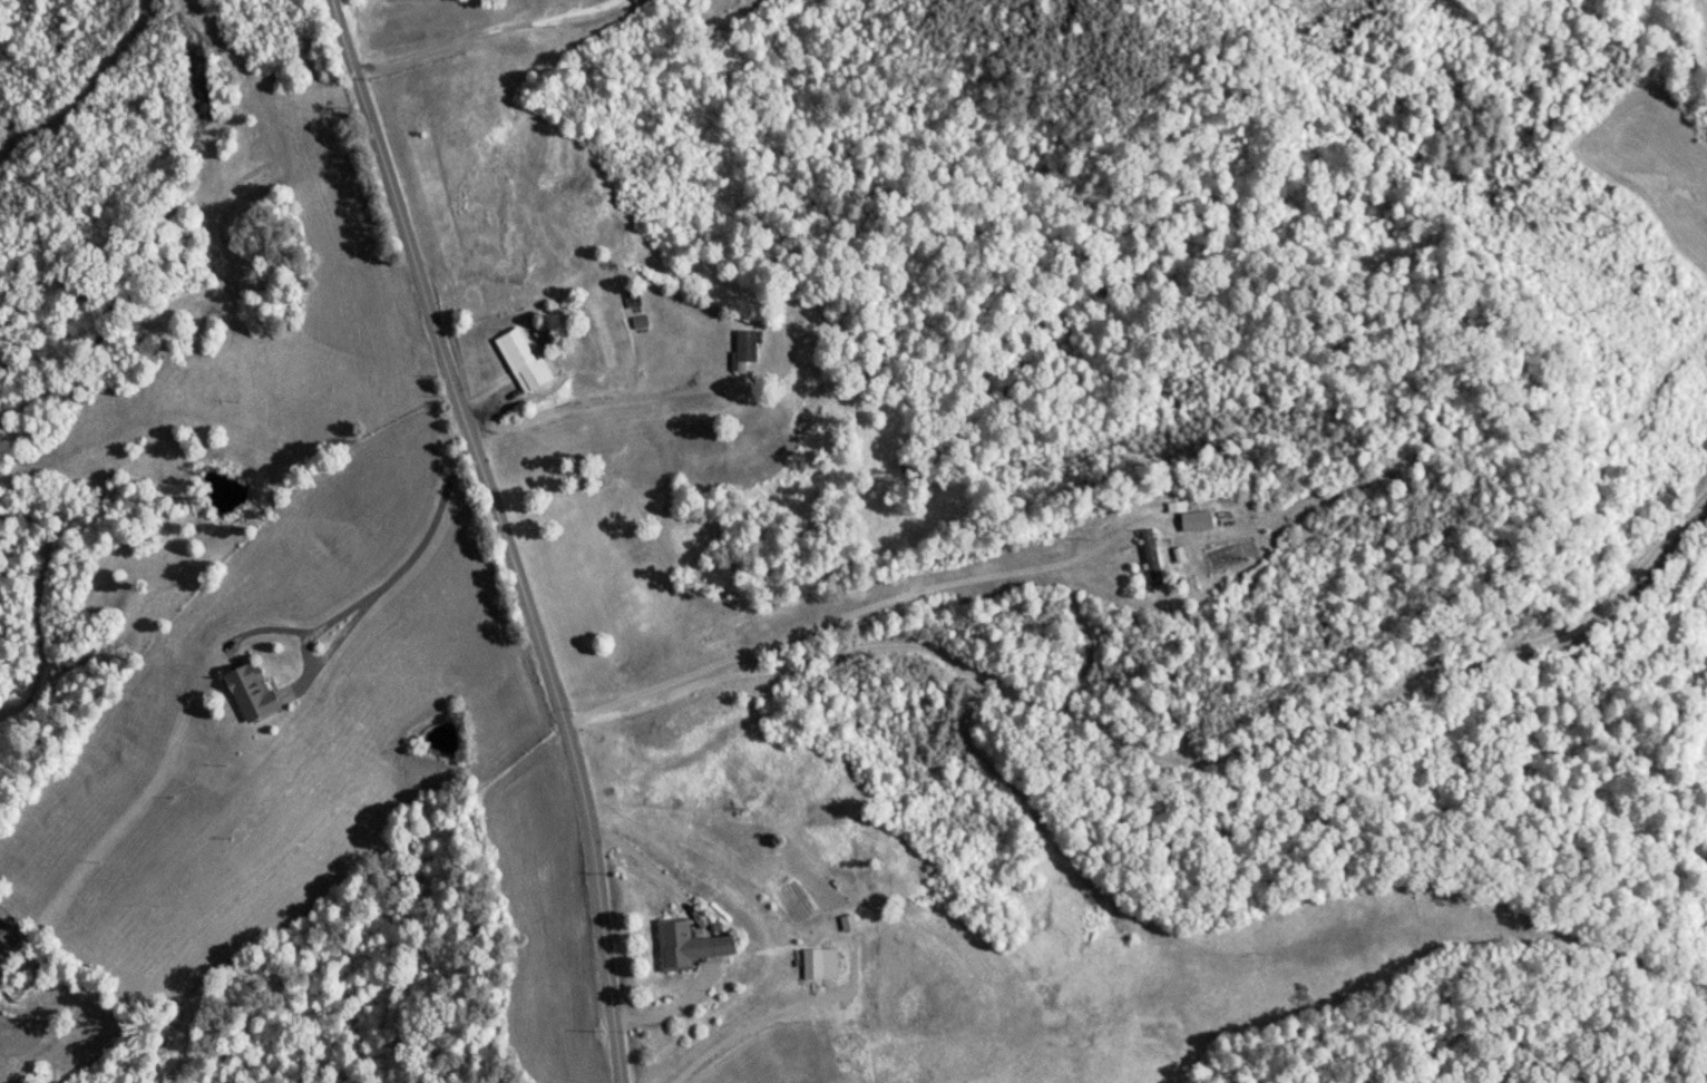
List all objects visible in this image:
building: (747, 350)
building: (523, 362)
building: (1192, 519)
road: (436, 539)
building: (1152, 559)
building: (251, 694)
building: (8, 935)
building: (687, 945)
building: (812, 964)
building: (18, 991)

